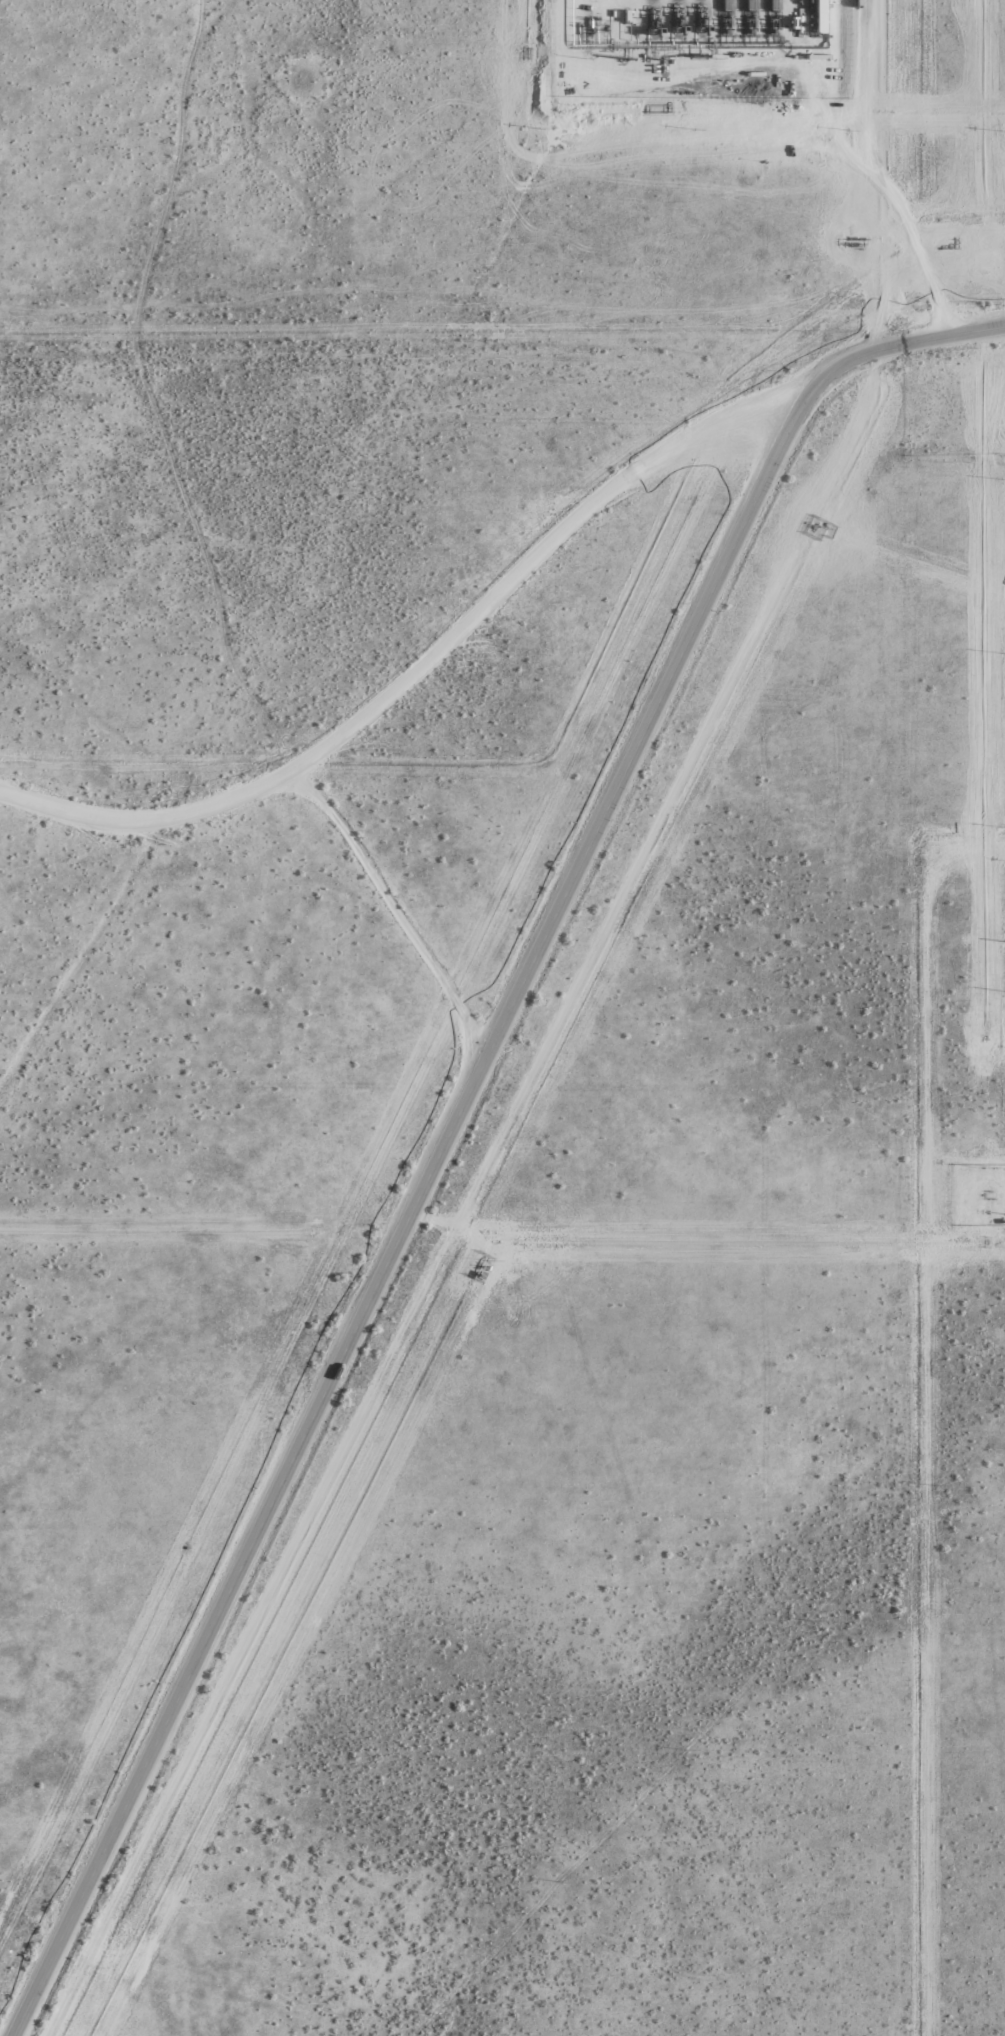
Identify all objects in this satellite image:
road: (646, 142)
road: (868, 177)
road: (417, 659)
road: (394, 904)
road: (456, 1116)

